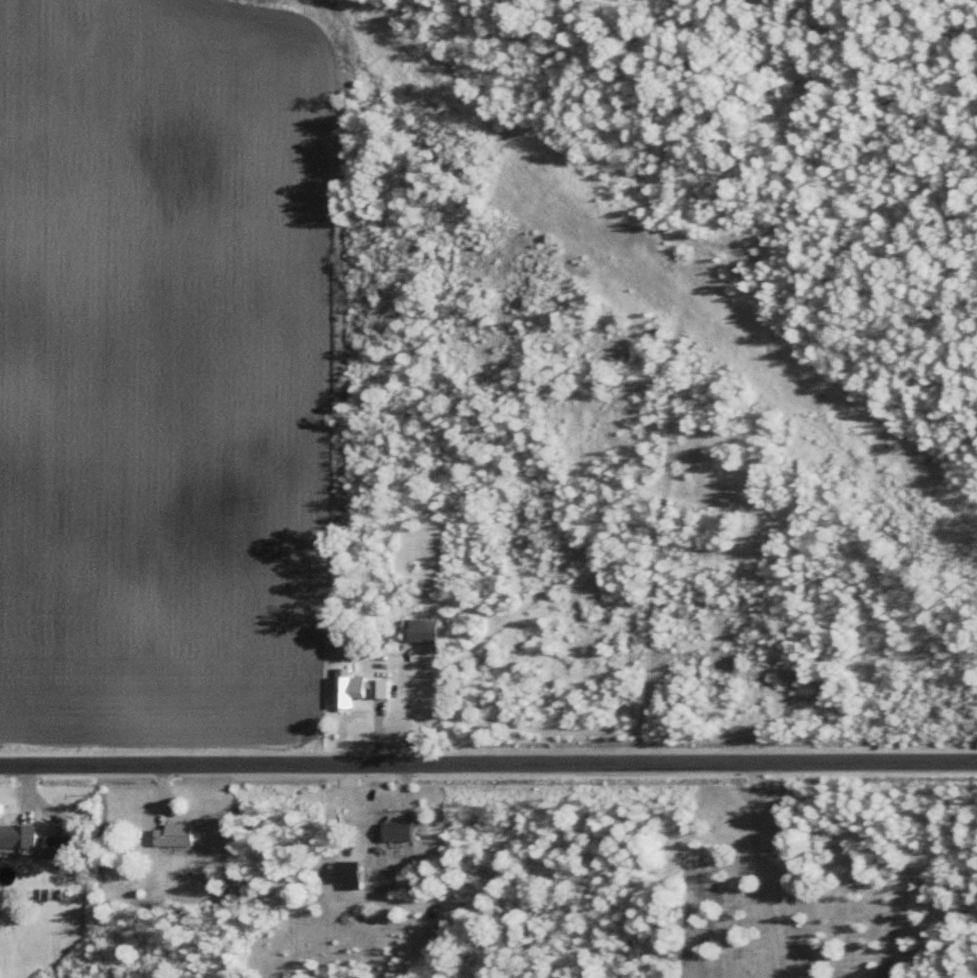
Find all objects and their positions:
building: (430, 631)
building: (361, 688)
road: (488, 763)
building: (395, 832)
building: (20, 835)
building: (179, 835)
building: (64, 846)
road: (762, 870)

